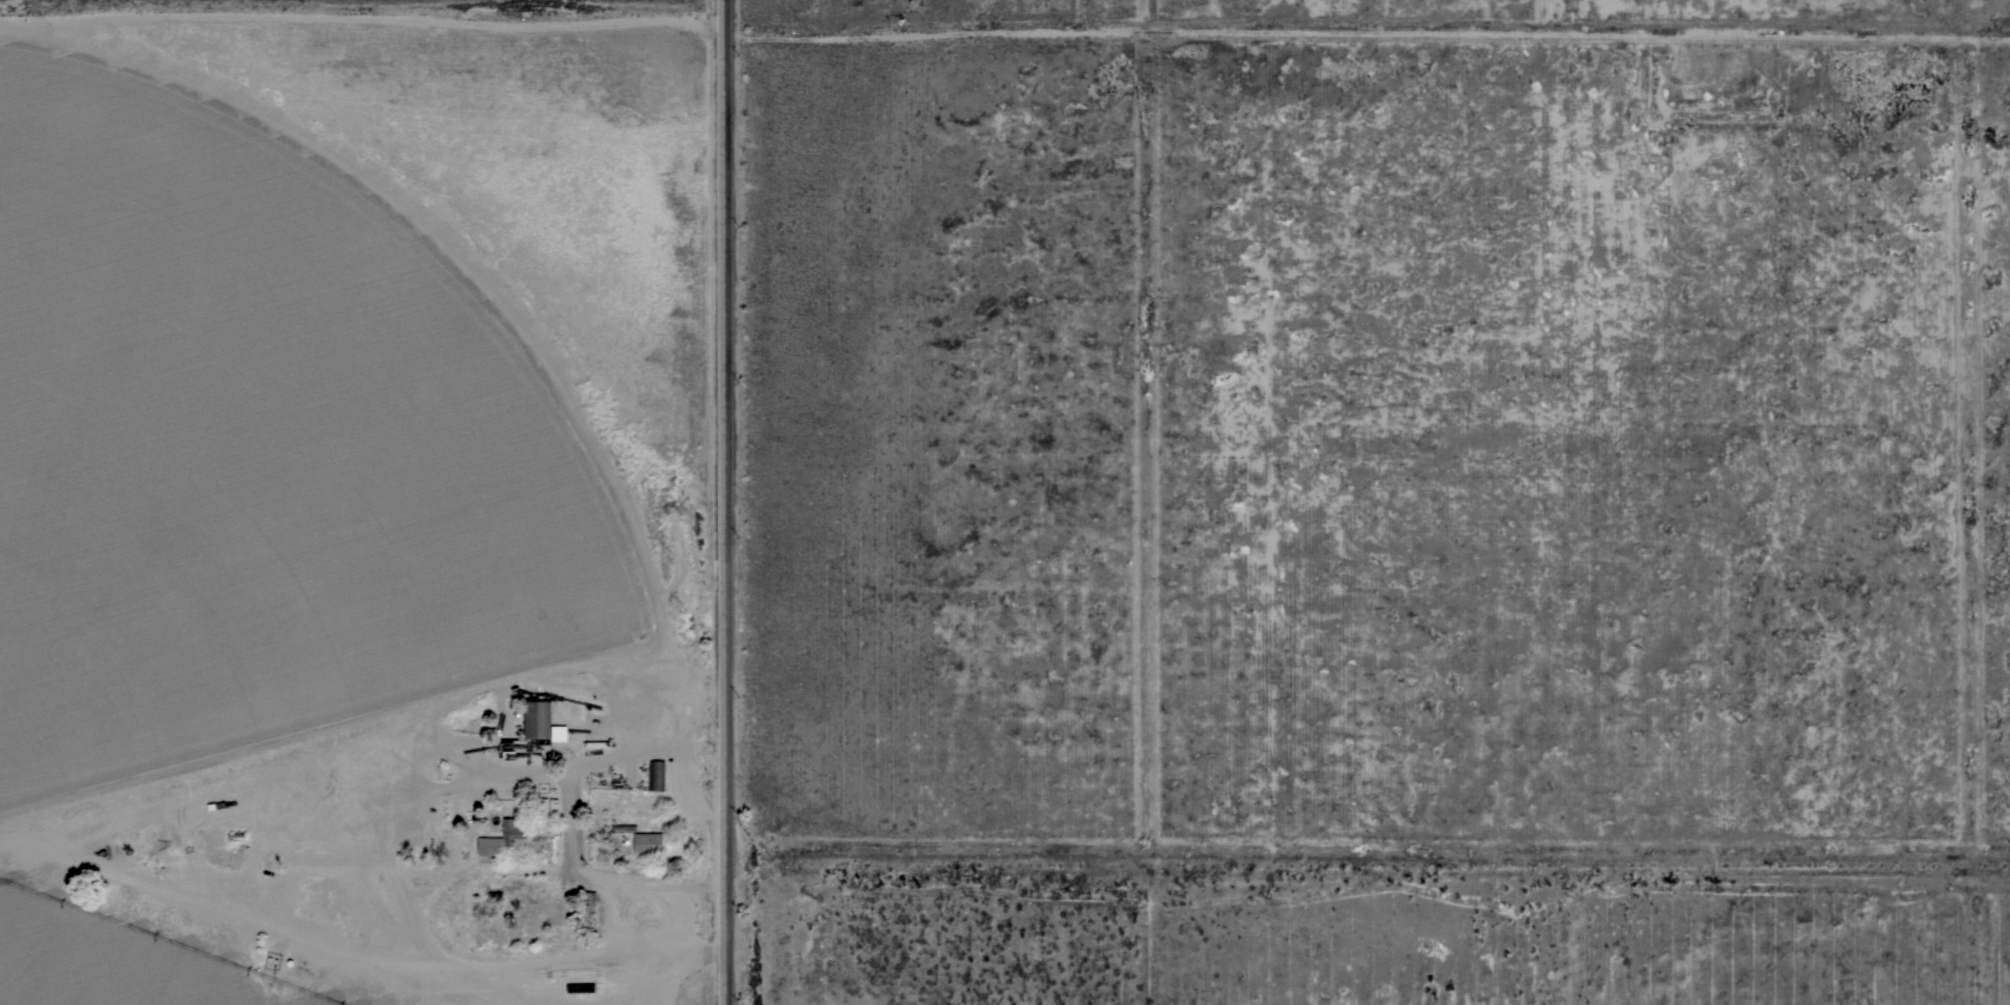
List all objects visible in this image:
road: (366, 5)
road: (1201, 16)
crop: (343, 384)
road: (729, 502)
building: (537, 719)
building: (655, 775)
building: (541, 813)
building: (623, 827)
building: (501, 838)
building: (647, 842)
building: (587, 900)
crop: (111, 957)

